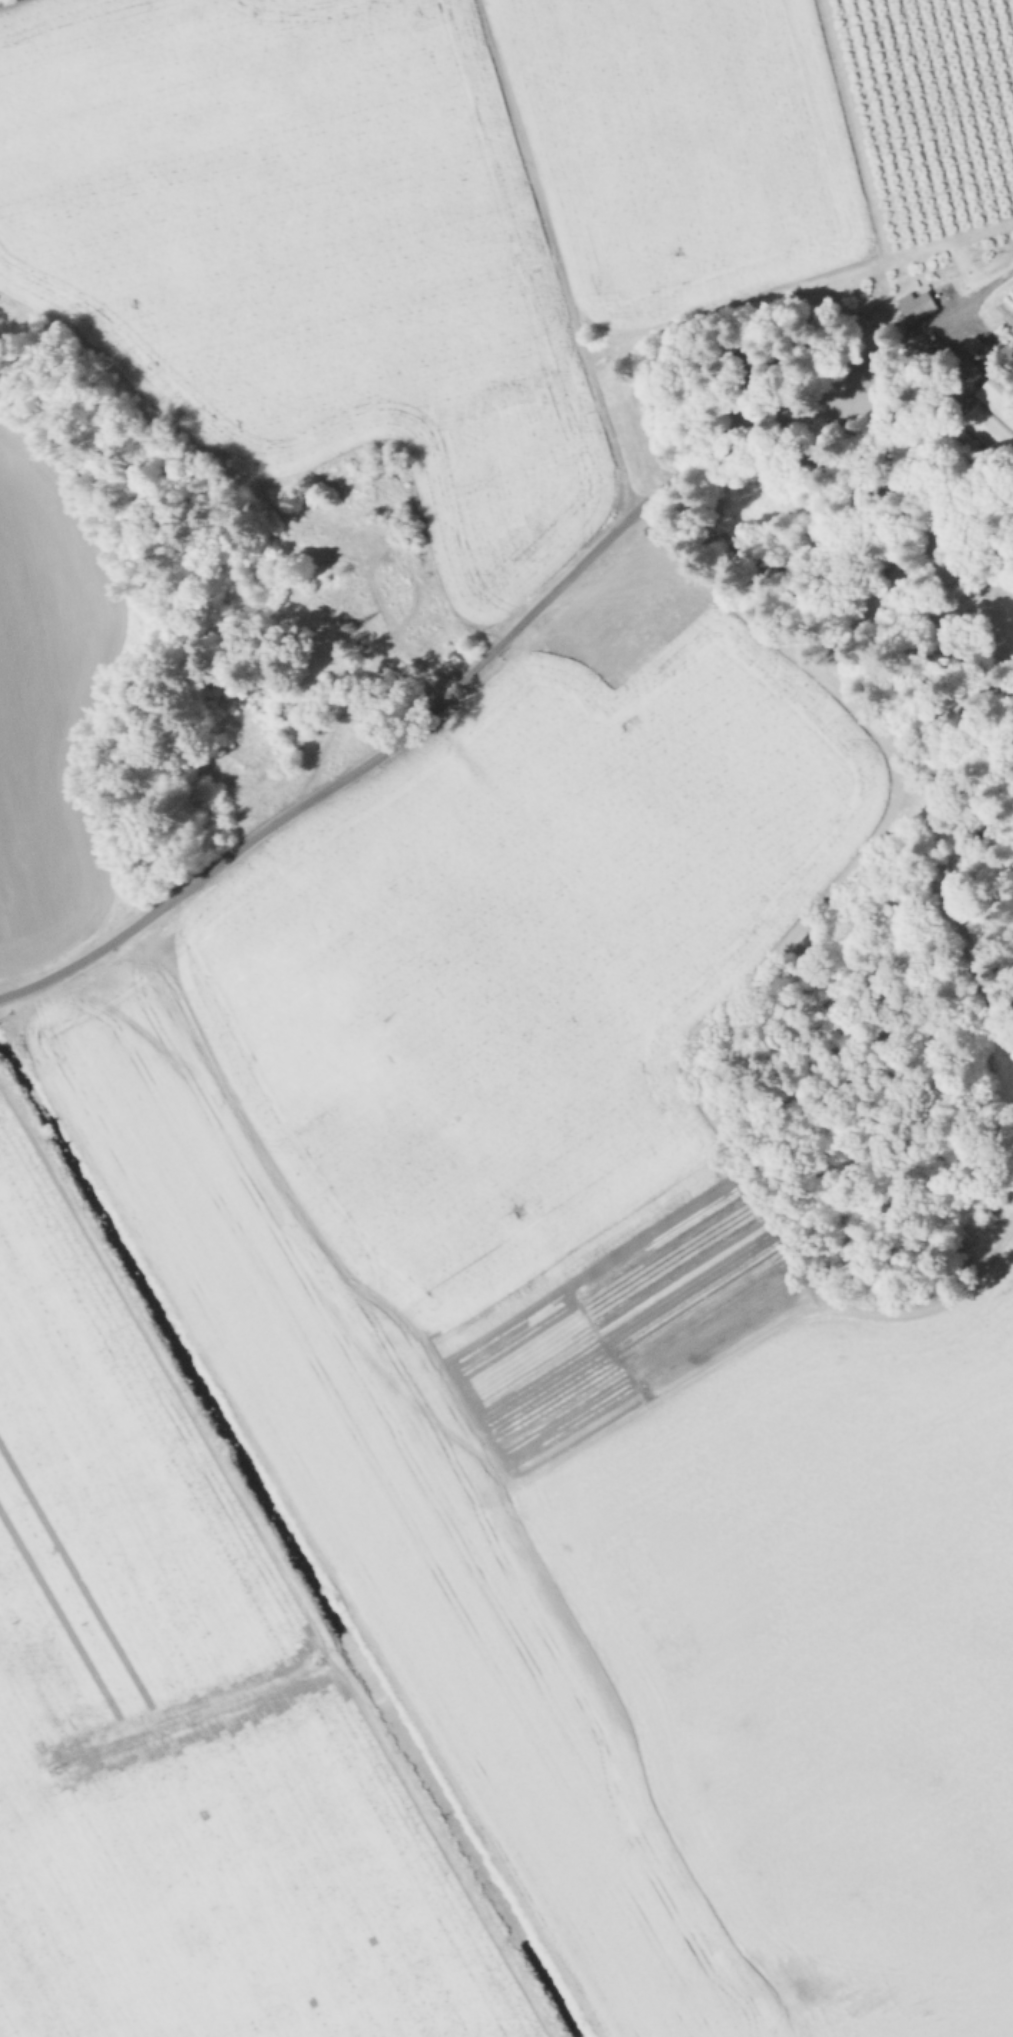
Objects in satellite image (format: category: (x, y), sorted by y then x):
road: (3, 1)
crop: (478, 211)
building: (917, 302)
crop: (1005, 304)
building: (913, 310)
road: (991, 330)
building: (999, 388)
building: (990, 426)
building: (327, 544)
road: (509, 635)
crop: (40, 718)
crop: (640, 1591)
crop: (183, 1721)

